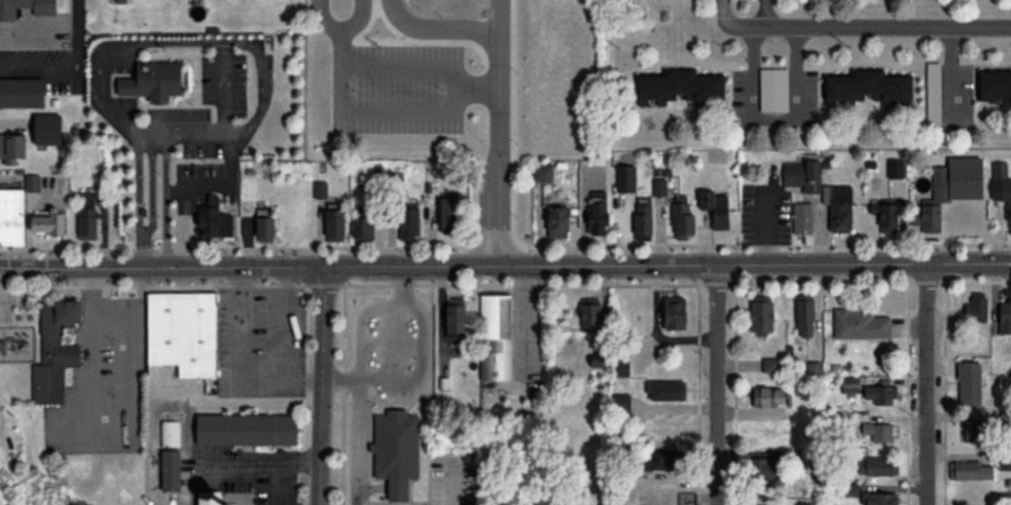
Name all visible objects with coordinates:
building: (26, 7)
road: (500, 13)
road: (765, 13)
road: (351, 17)
road: (319, 20)
road: (436, 24)
road: (732, 27)
road: (888, 28)
building: (153, 80)
building: (997, 84)
building: (682, 87)
building: (870, 87)
building: (774, 89)
road: (475, 90)
building: (22, 92)
building: (934, 94)
road: (770, 114)
road: (435, 118)
building: (48, 129)
road: (500, 145)
building: (12, 147)
building: (896, 169)
building: (544, 172)
building: (803, 174)
building: (626, 178)
building: (394, 181)
building: (32, 182)
building: (1004, 183)
building: (659, 186)
building: (321, 190)
building: (942, 191)
building: (249, 195)
building: (707, 199)
building: (839, 206)
building: (962, 210)
building: (598, 213)
building: (451, 215)
building: (11, 216)
building: (643, 216)
building: (887, 216)
building: (928, 216)
building: (88, 217)
building: (803, 218)
building: (683, 219)
building: (721, 219)
building: (214, 220)
building: (560, 220)
building: (49, 223)
building: (410, 223)
building: (336, 225)
building: (266, 228)
building: (363, 228)
road: (505, 247)
road: (505, 265)
road: (511, 265)
road: (505, 284)
road: (262, 292)
building: (977, 305)
building: (675, 312)
building: (594, 314)
building: (763, 314)
building: (806, 315)
building: (1005, 317)
building: (457, 318)
building: (856, 324)
road: (241, 331)
building: (495, 337)
building: (180, 338)
parking lot: (528, 340)
road: (521, 341)
parking lot: (260, 342)
power substation: (16, 344)
road: (283, 344)
building: (56, 350)
building: (601, 362)
building: (771, 364)
road: (305, 366)
building: (622, 368)
building: (814, 368)
building: (971, 383)
parking lot: (102, 385)
road: (715, 385)
building: (850, 385)
road: (926, 385)
road: (321, 387)
building: (664, 388)
building: (196, 389)
building: (880, 393)
road: (907, 393)
road: (943, 393)
road: (698, 394)
road: (735, 394)
road: (342, 395)
building: (771, 396)
building: (1005, 419)
building: (245, 429)
building: (977, 430)
building: (879, 432)
building: (170, 433)
building: (397, 450)
building: (801, 455)
building: (661, 459)
building: (1005, 459)
road: (263, 464)
building: (878, 466)
building: (170, 469)
building: (835, 469)
building: (970, 470)
building: (768, 472)
building: (851, 489)
building: (211, 498)
building: (687, 498)
building: (880, 498)

